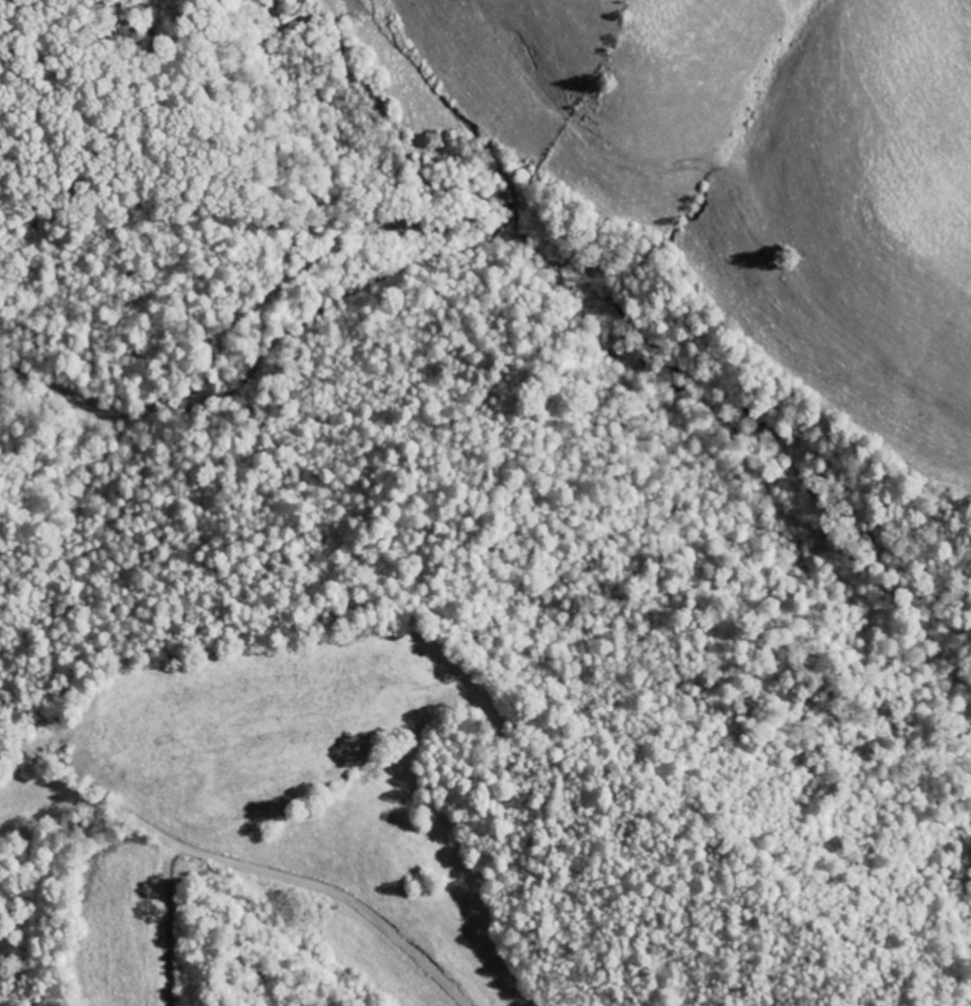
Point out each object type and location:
road: (63, 776)
road: (314, 883)
road: (166, 921)

